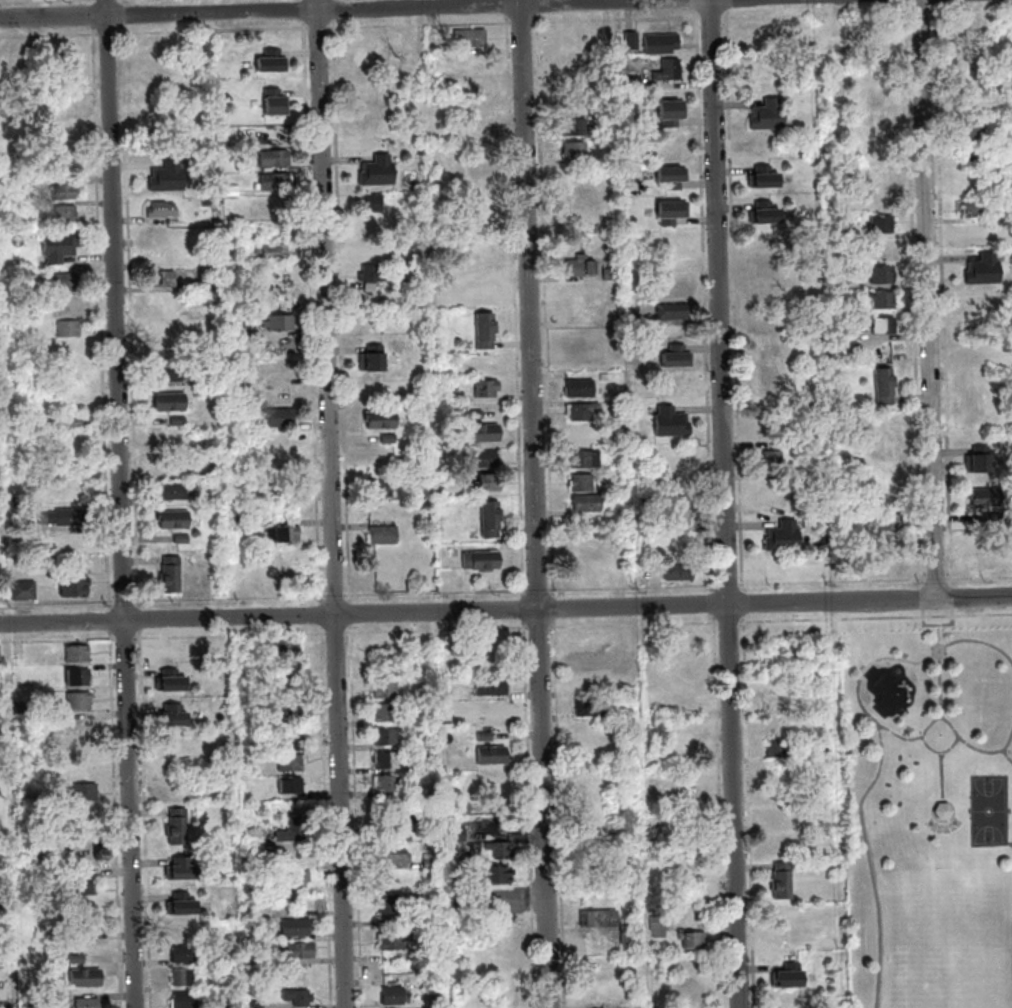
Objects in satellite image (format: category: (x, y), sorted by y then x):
road: (2, 0)
road: (907, 1)
road: (123, 2)
road: (937, 2)
road: (94, 3)
road: (729, 6)
road: (355, 8)
road: (537, 8)
road: (508, 9)
road: (335, 10)
road: (972, 10)
road: (305, 11)
road: (921, 11)
road: (123, 15)
road: (817, 15)
road: (94, 16)
road: (712, 18)
road: (616, 19)
road: (523, 23)
road: (421, 25)
road: (321, 28)
road: (215, 31)
road: (109, 34)
road: (50, 35)
building: (471, 40)
building: (632, 43)
building: (156, 44)
building: (662, 45)
building: (366, 54)
building: (273, 63)
building: (669, 72)
building: (974, 75)
building: (634, 84)
building: (277, 104)
building: (671, 115)
building: (769, 118)
building: (575, 127)
building: (974, 130)
building: (576, 151)
building: (975, 156)
building: (275, 159)
building: (378, 174)
building: (673, 178)
building: (169, 179)
building: (765, 180)
building: (277, 181)
building: (8, 188)
building: (65, 192)
building: (230, 193)
building: (208, 203)
building: (372, 204)
building: (976, 209)
building: (162, 211)
building: (672, 214)
building: (67, 215)
building: (765, 216)
building: (1005, 216)
building: (219, 222)
building: (883, 225)
building: (251, 234)
building: (851, 234)
building: (978, 234)
building: (1008, 242)
building: (60, 248)
building: (374, 252)
building: (274, 253)
building: (581, 269)
building: (986, 273)
building: (375, 274)
building: (612, 276)
building: (881, 276)
building: (165, 281)
building: (68, 283)
building: (209, 286)
building: (839, 286)
building: (33, 290)
road: (915, 295)
building: (483, 296)
road: (706, 296)
road: (944, 296)
road: (930, 299)
road: (735, 302)
building: (884, 302)
road: (547, 307)
road: (516, 308)
building: (840, 312)
road: (313, 313)
road: (342, 313)
building: (673, 314)
road: (103, 318)
road: (132, 318)
building: (282, 324)
building: (639, 327)
building: (885, 327)
building: (69, 329)
building: (977, 330)
building: (486, 331)
building: (238, 332)
building: (840, 334)
building: (767, 346)
building: (678, 359)
building: (373, 362)
building: (170, 375)
building: (605, 379)
building: (885, 388)
building: (486, 390)
building: (581, 390)
building: (283, 393)
building: (171, 404)
building: (584, 412)
building: (476, 416)
building: (281, 419)
building: (381, 422)
building: (179, 423)
building: (71, 424)
building: (672, 425)
building: (610, 431)
building: (485, 435)
building: (582, 437)
building: (389, 440)
building: (486, 460)
building: (587, 460)
building: (773, 462)
building: (980, 462)
building: (177, 470)
building: (277, 477)
building: (492, 484)
building: (583, 484)
building: (381, 490)
building: (630, 491)
building: (171, 493)
building: (213, 497)
building: (987, 499)
building: (16, 502)
road: (122, 503)
road: (334, 503)
road: (726, 503)
road: (537, 504)
building: (588, 504)
building: (377, 506)
building: (682, 510)
building: (65, 519)
building: (491, 519)
building: (995, 519)
building: (244, 523)
building: (891, 523)
building: (177, 525)
building: (19, 528)
building: (285, 535)
building: (384, 537)
building: (784, 540)
building: (482, 563)
building: (984, 568)
building: (680, 574)
building: (172, 577)
road: (979, 579)
road: (938, 581)
road: (833, 583)
road: (729, 586)
road: (633, 588)
building: (78, 591)
road: (537, 591)
building: (24, 592)
road: (436, 594)
road: (336, 597)
road: (953, 598)
road: (231, 599)
road: (923, 599)
road: (126, 603)
road: (58, 604)
road: (744, 604)
road: (714, 605)
road: (554, 609)
road: (323, 610)
road: (506, 610)
road: (525, 610)
road: (140, 615)
road: (351, 615)
road: (111, 616)
road: (875, 618)
road: (728, 622)
road: (634, 625)
road: (937, 625)
road: (539, 628)
road: (437, 630)
road: (341, 632)
building: (284, 647)
building: (77, 653)
road: (900, 662)
building: (290, 668)
road: (912, 670)
road: (940, 671)
building: (77, 676)
building: (170, 680)
building: (491, 686)
building: (385, 689)
building: (78, 700)
building: (591, 707)
road: (870, 707)
building: (491, 710)
building: (289, 712)
building: (386, 713)
building: (452, 715)
building: (625, 715)
building: (171, 716)
building: (484, 736)
building: (387, 737)
road: (900, 738)
building: (173, 741)
building: (288, 742)
road: (1009, 743)
building: (779, 749)
building: (822, 749)
road: (979, 750)
road: (946, 751)
building: (492, 755)
road: (882, 755)
road: (1008, 755)
building: (388, 760)
building: (291, 762)
road: (942, 777)
building: (388, 784)
building: (291, 786)
building: (85, 791)
road: (942, 801)
building: (389, 807)
park: (928, 810)
building: (943, 811)
park: (989, 811)
road: (719, 812)
road: (749, 812)
road: (559, 814)
road: (529, 815)
road: (356, 816)
building: (686, 821)
building: (782, 821)
building: (414, 823)
building: (177, 825)
building: (292, 830)
building: (652, 833)
building: (456, 835)
building: (252, 837)
road: (1010, 843)
building: (500, 850)
building: (392, 853)
building: (431, 864)
building: (180, 868)
building: (495, 875)
building: (294, 879)
building: (782, 882)
building: (83, 885)
building: (181, 904)
building: (390, 908)
building: (632, 915)
building: (598, 918)
building: (88, 921)
building: (658, 926)
building: (295, 927)
building: (628, 933)
park: (948, 939)
building: (394, 940)
building: (693, 940)
building: (299, 950)
building: (183, 953)
building: (417, 955)
building: (76, 958)
building: (788, 976)
building: (85, 977)
building: (183, 977)
building: (393, 995)
building: (297, 996)
building: (184, 1000)
building: (33, 1002)
building: (86, 1002)
building: (255, 1004)

